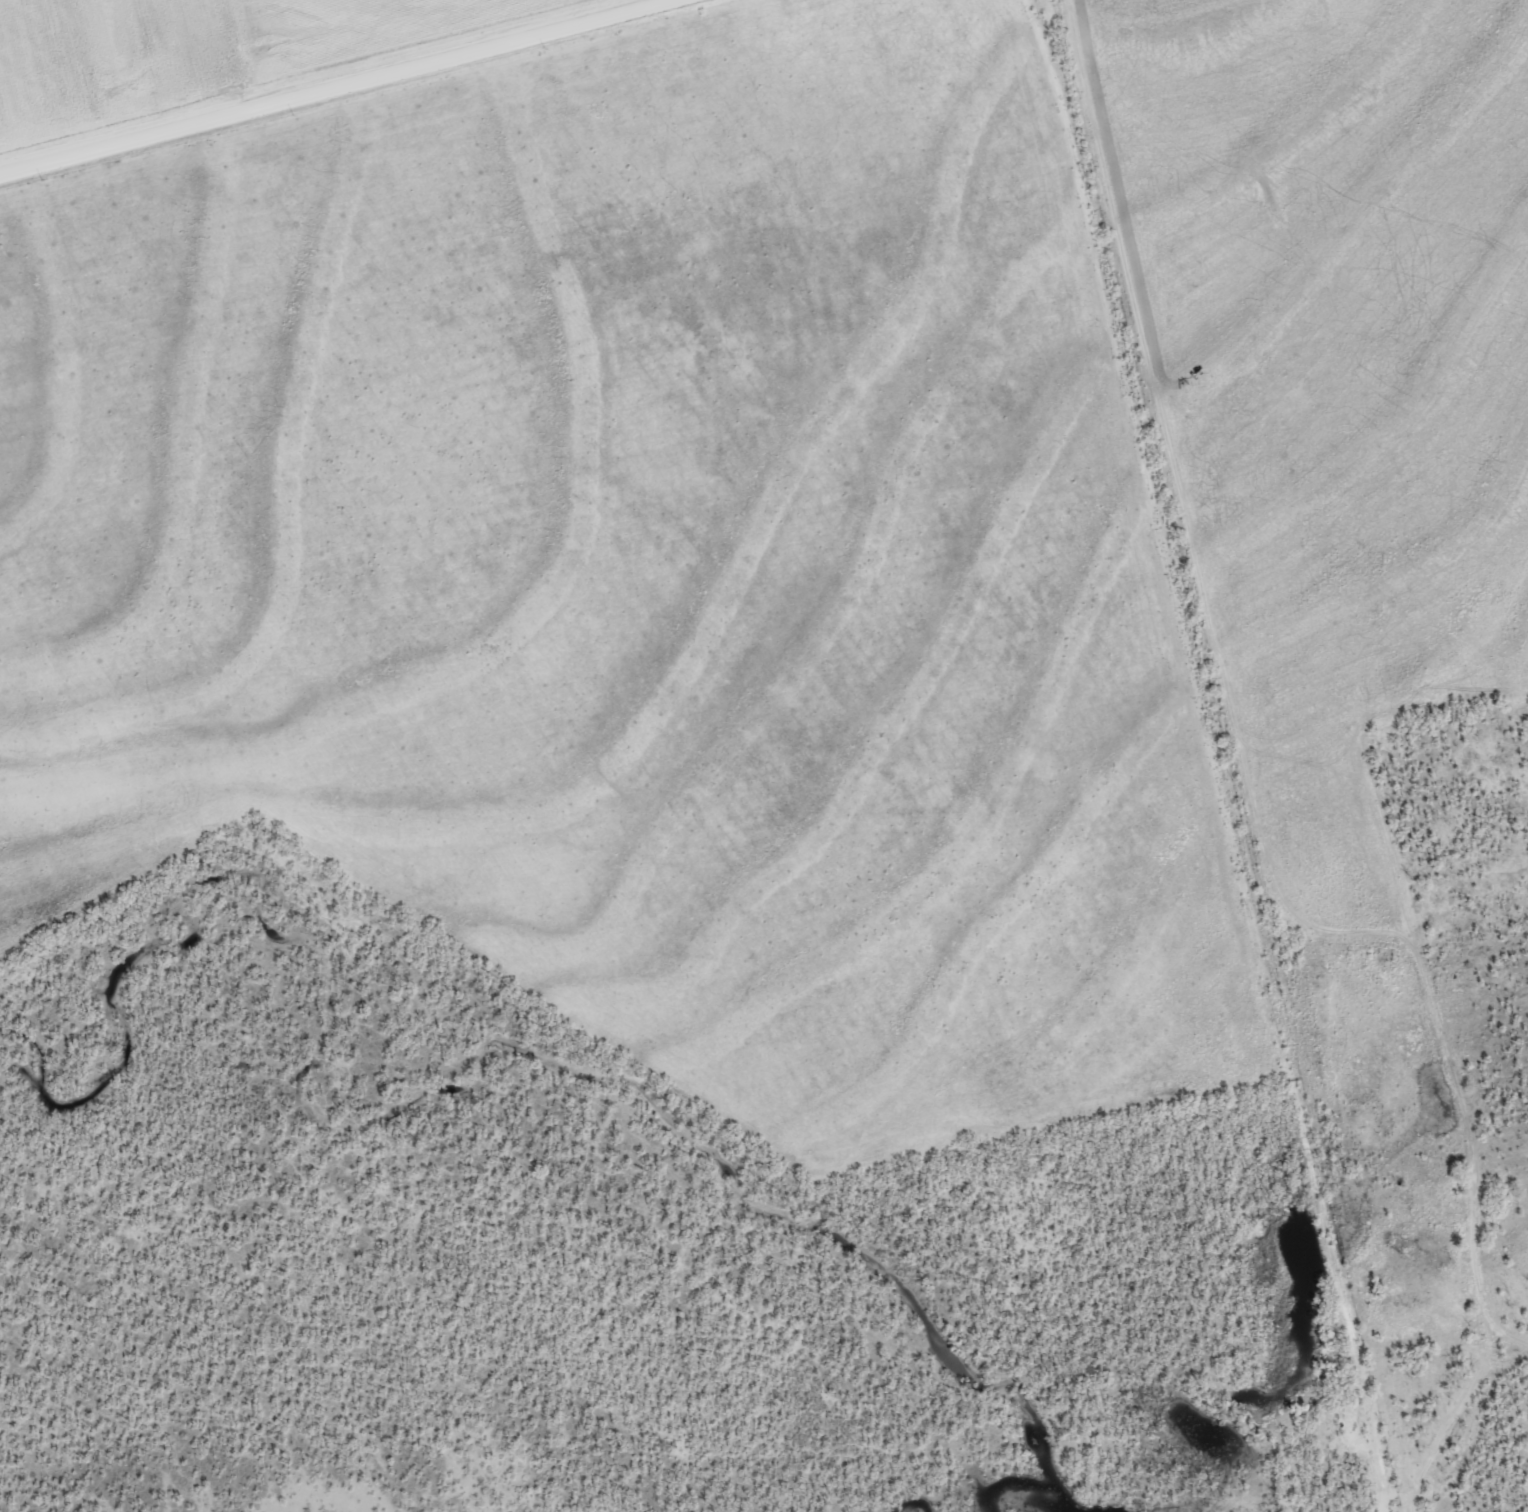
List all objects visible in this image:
road: (396, 101)

